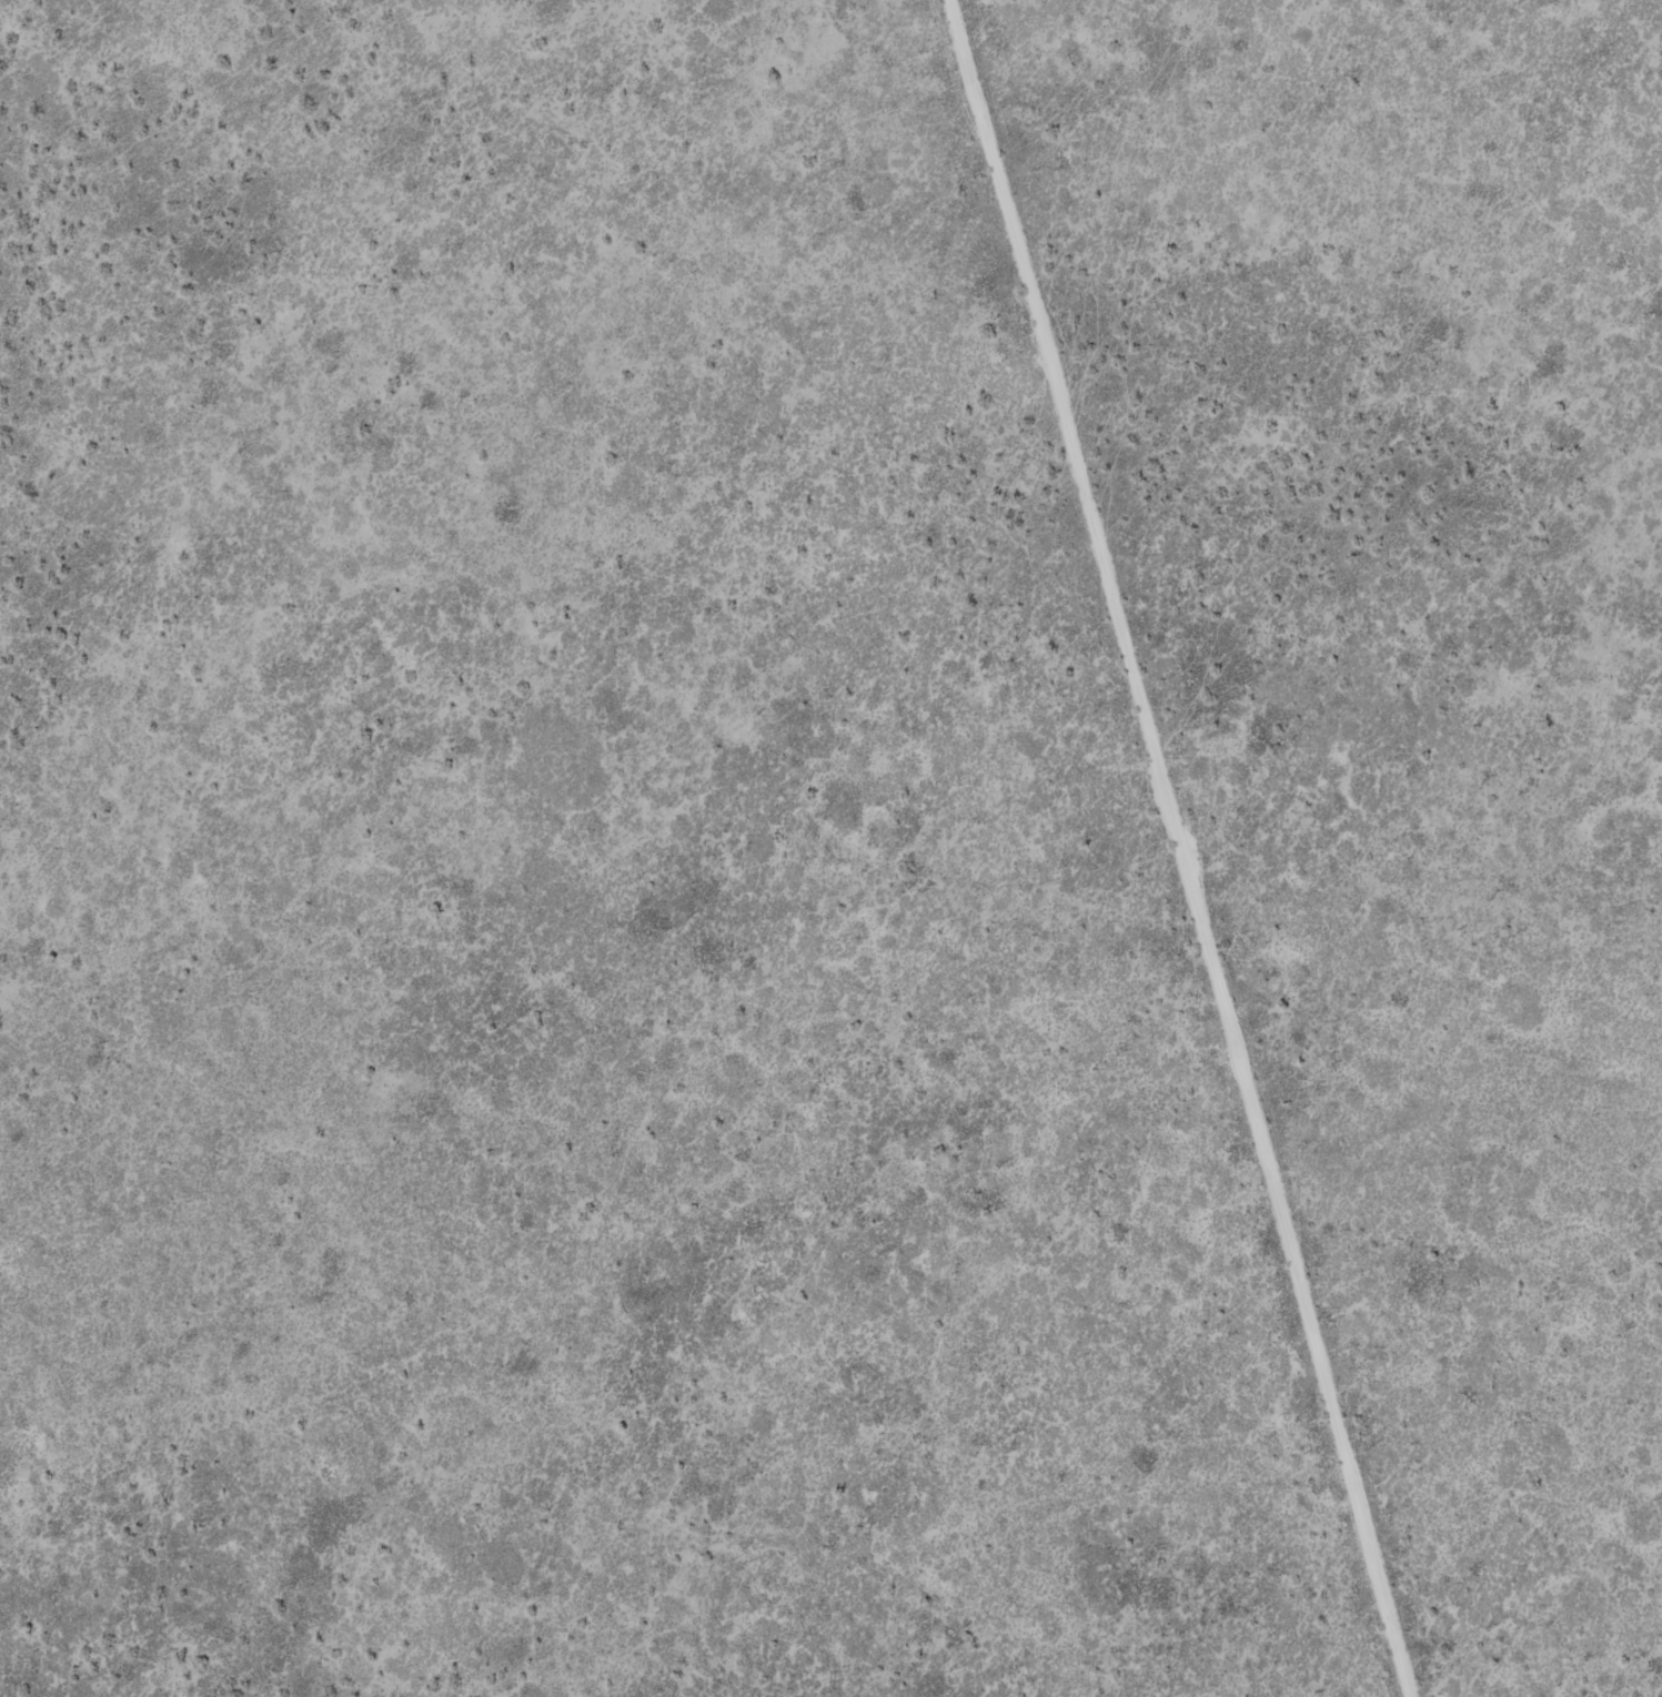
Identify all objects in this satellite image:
road: (1200, 848)

